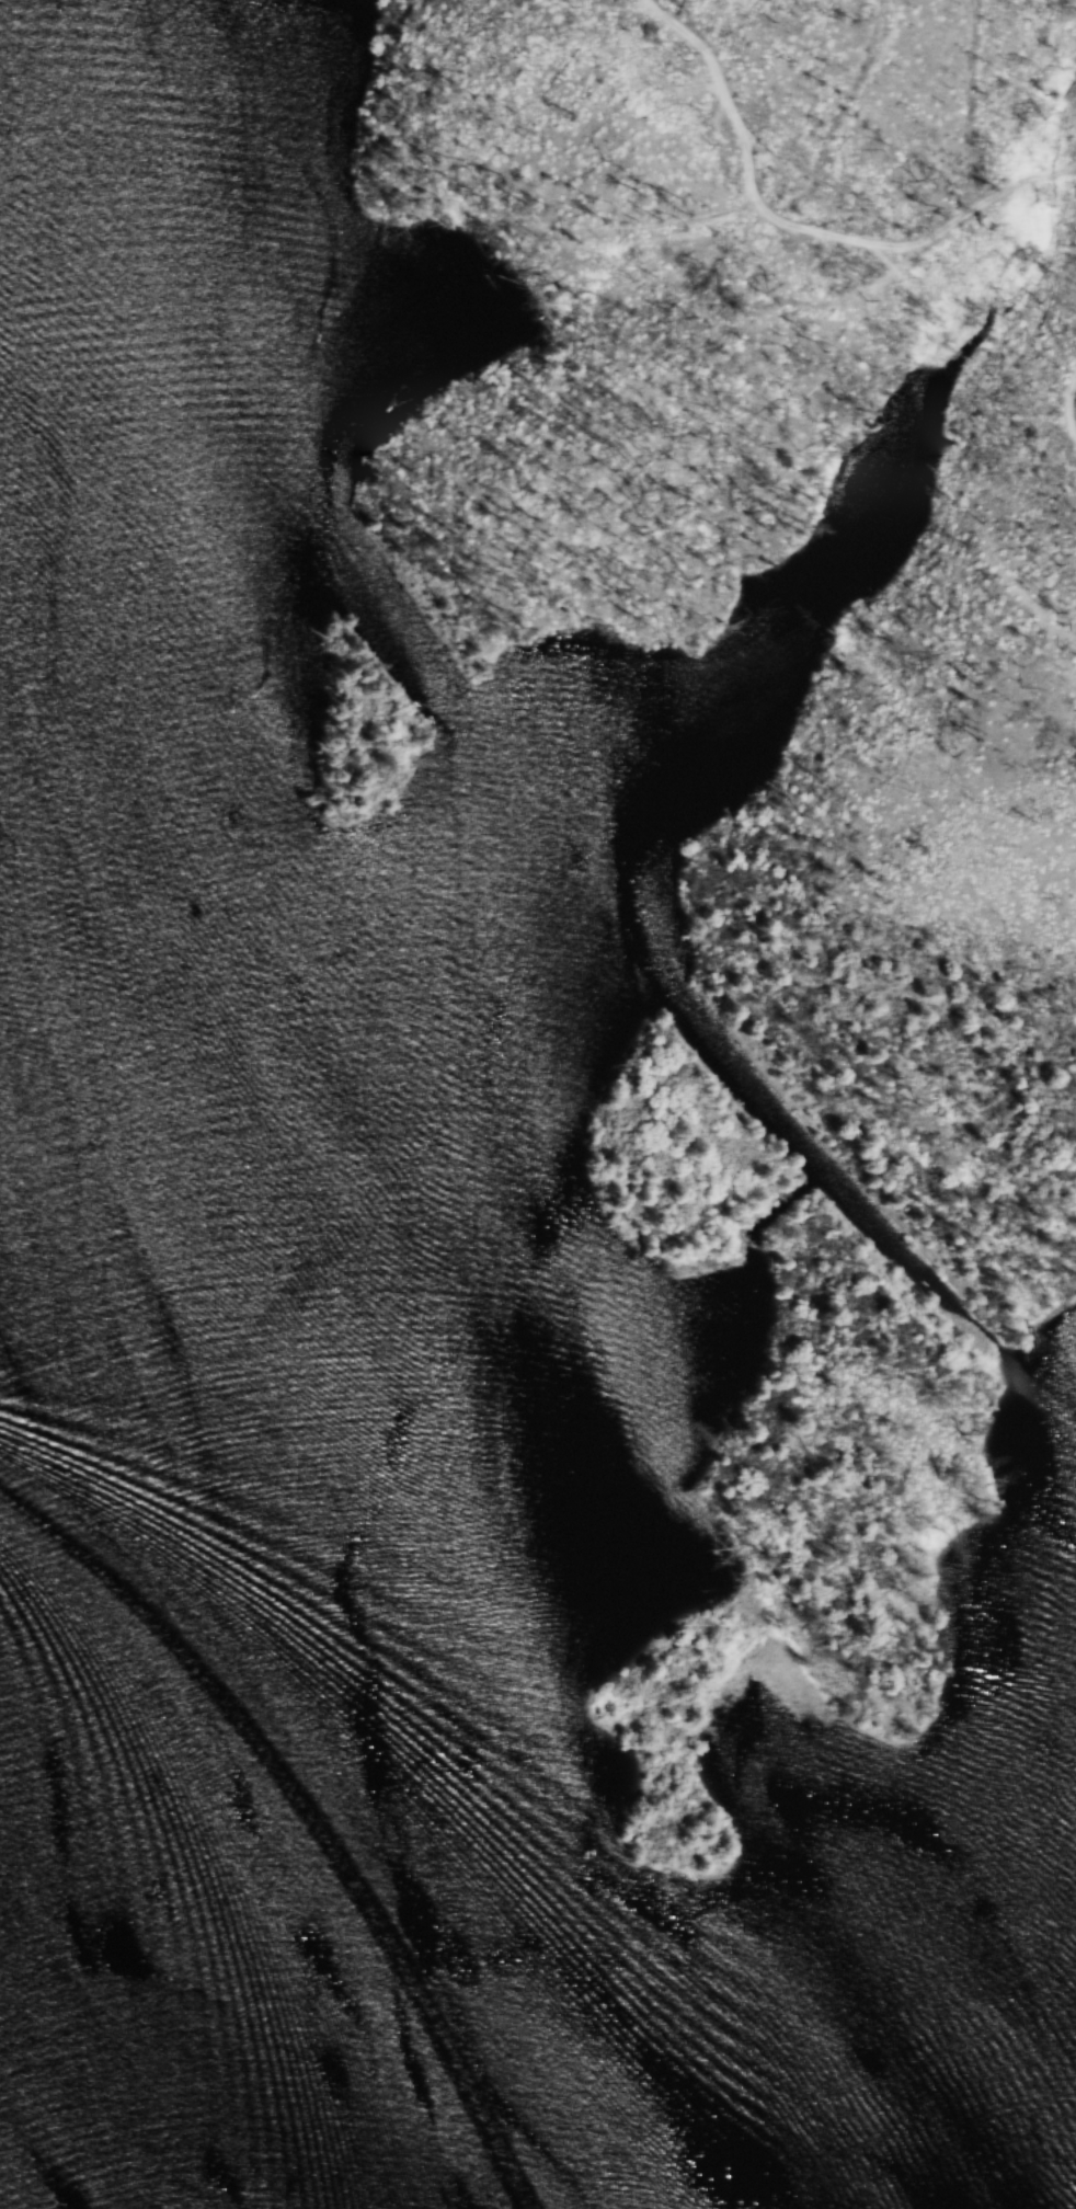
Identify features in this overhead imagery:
power tower: (687, 56)

